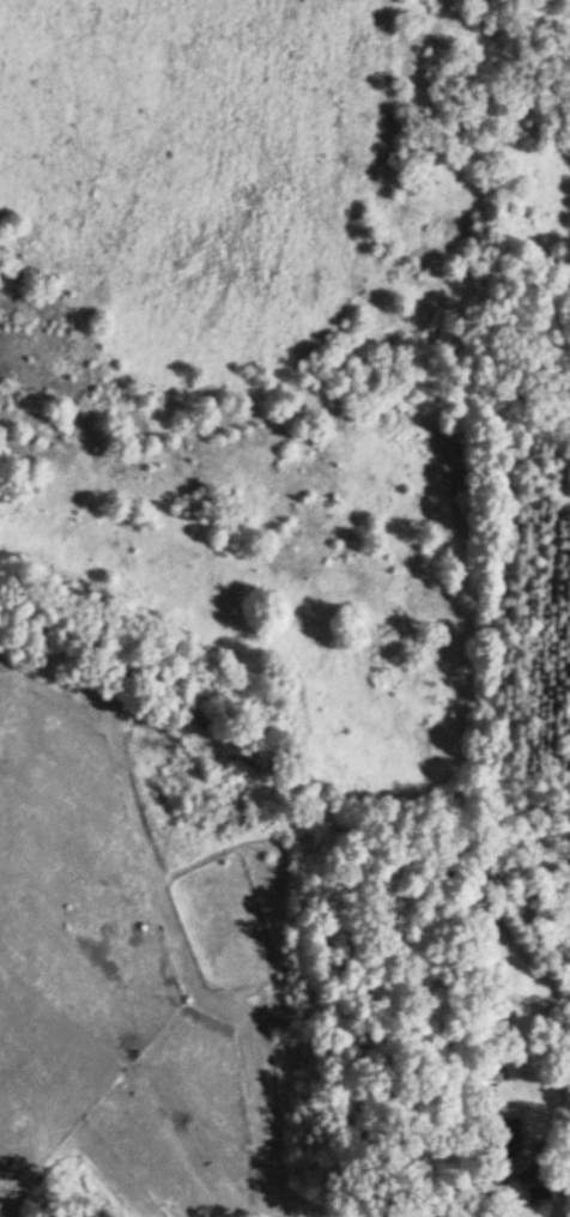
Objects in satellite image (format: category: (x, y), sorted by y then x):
building: (507, 1132)
building: (530, 1187)
road: (493, 1206)

